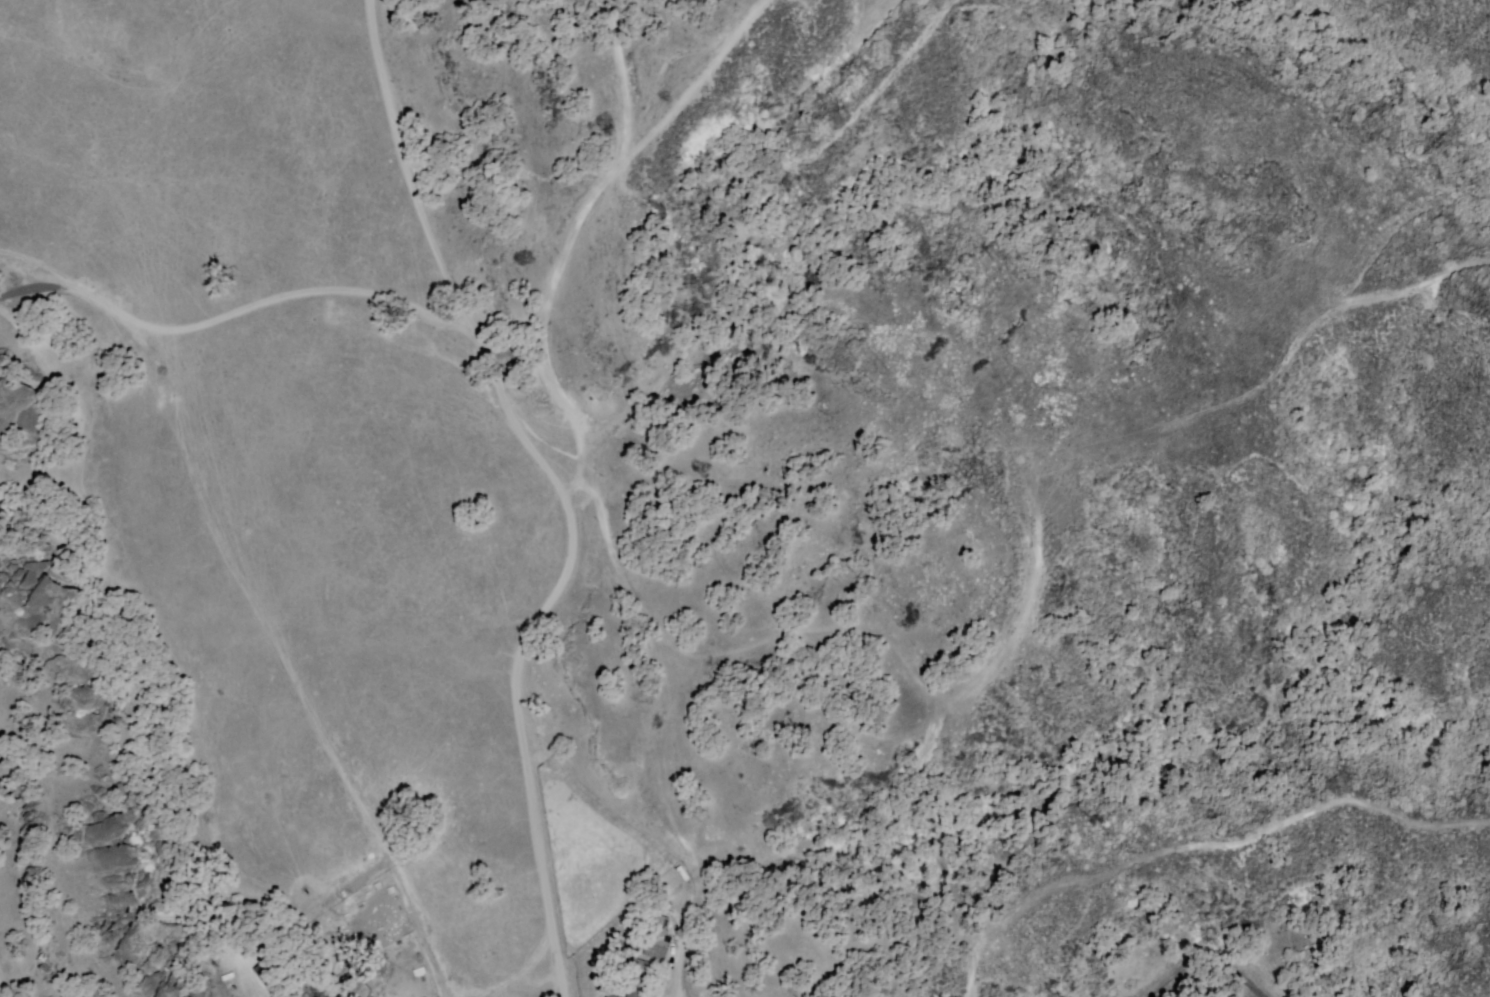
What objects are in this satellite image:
road: (231, 317)
road: (558, 486)
building: (654, 947)
building: (645, 967)
building: (635, 993)
building: (699, 994)
building: (609, 996)

